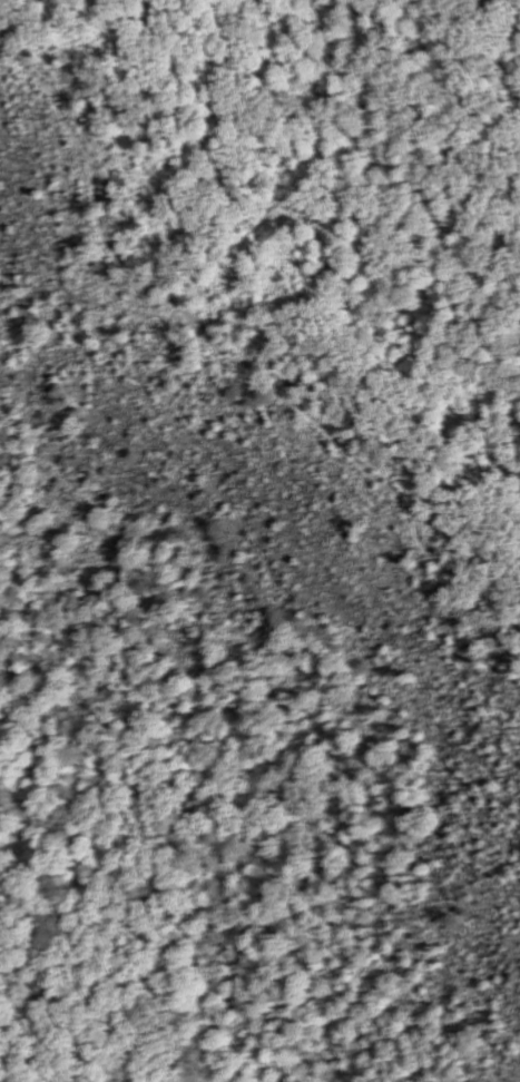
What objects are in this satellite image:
road: (273, 425)

